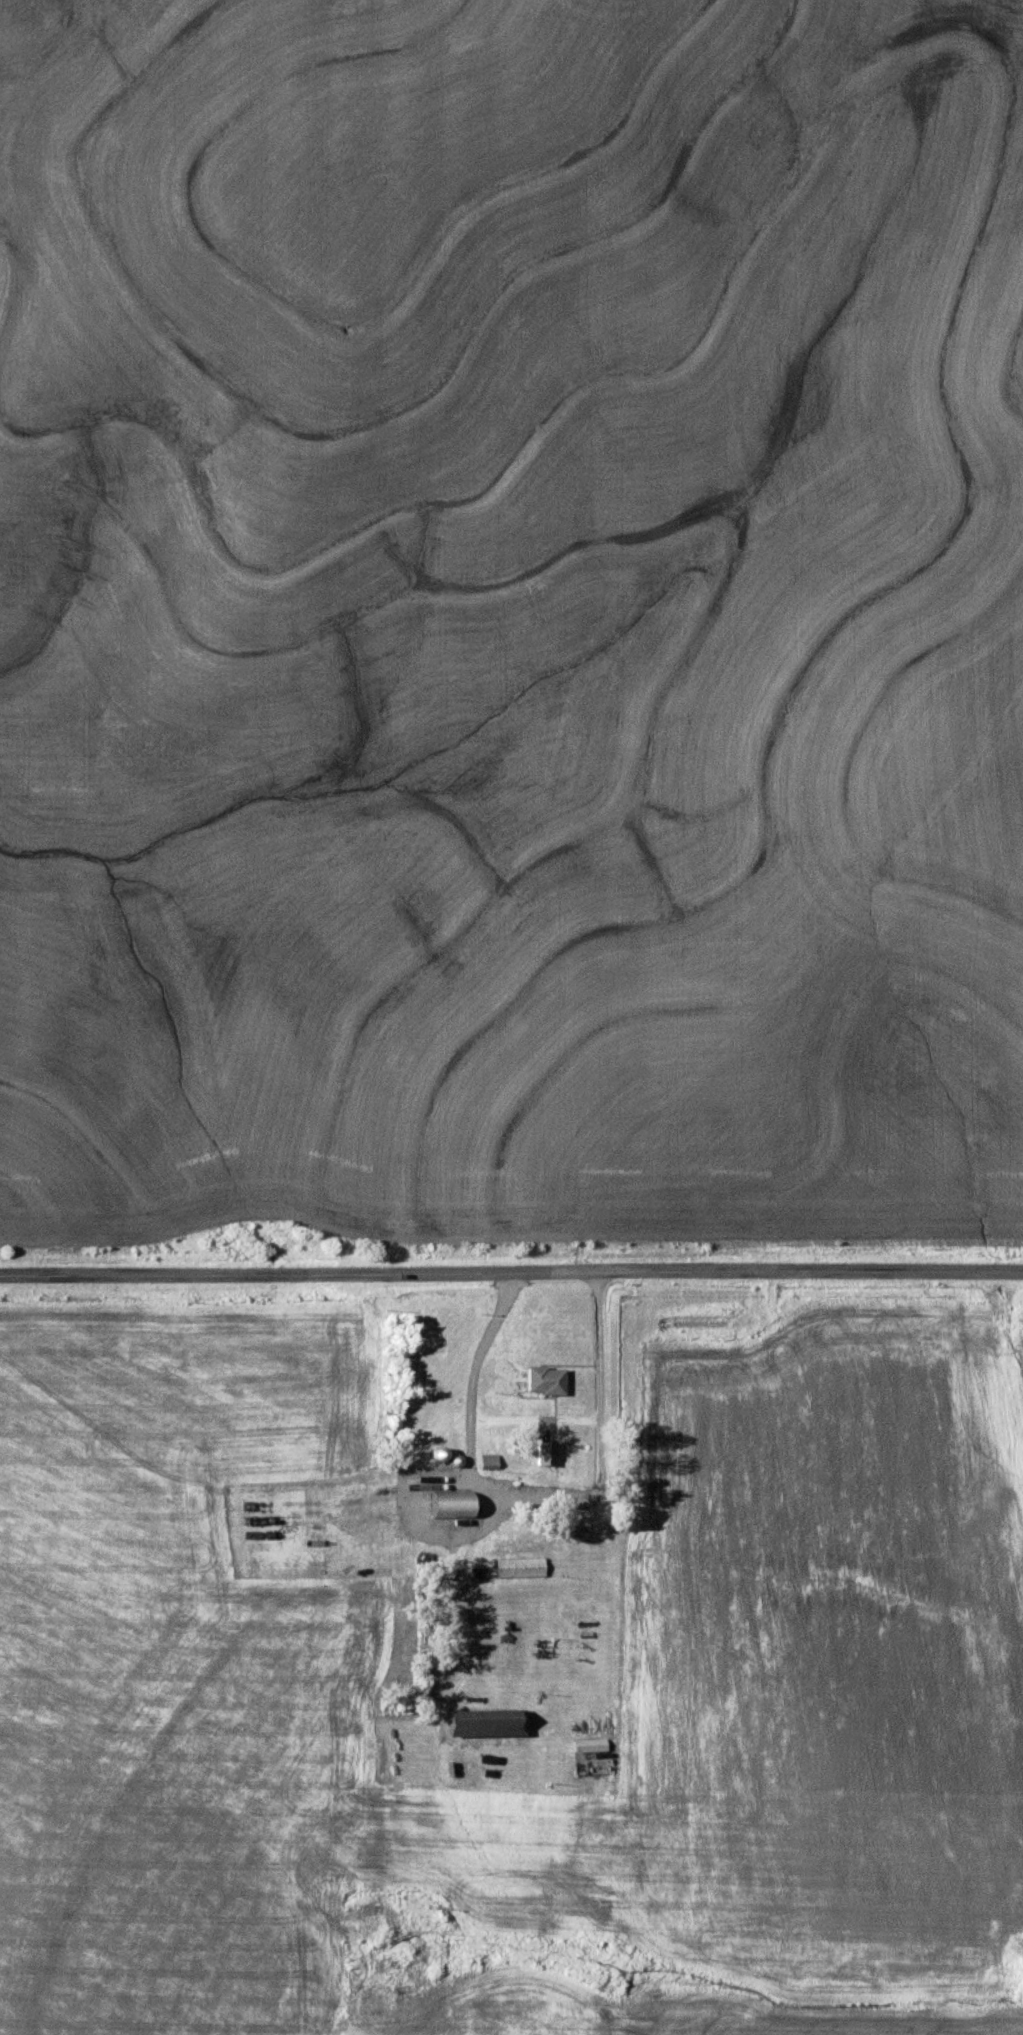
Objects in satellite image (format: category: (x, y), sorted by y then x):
road: (511, 1272)
building: (545, 1378)
road: (535, 1418)
building: (544, 1451)
building: (487, 1460)
building: (451, 1502)
building: (523, 1565)
building: (488, 1721)

